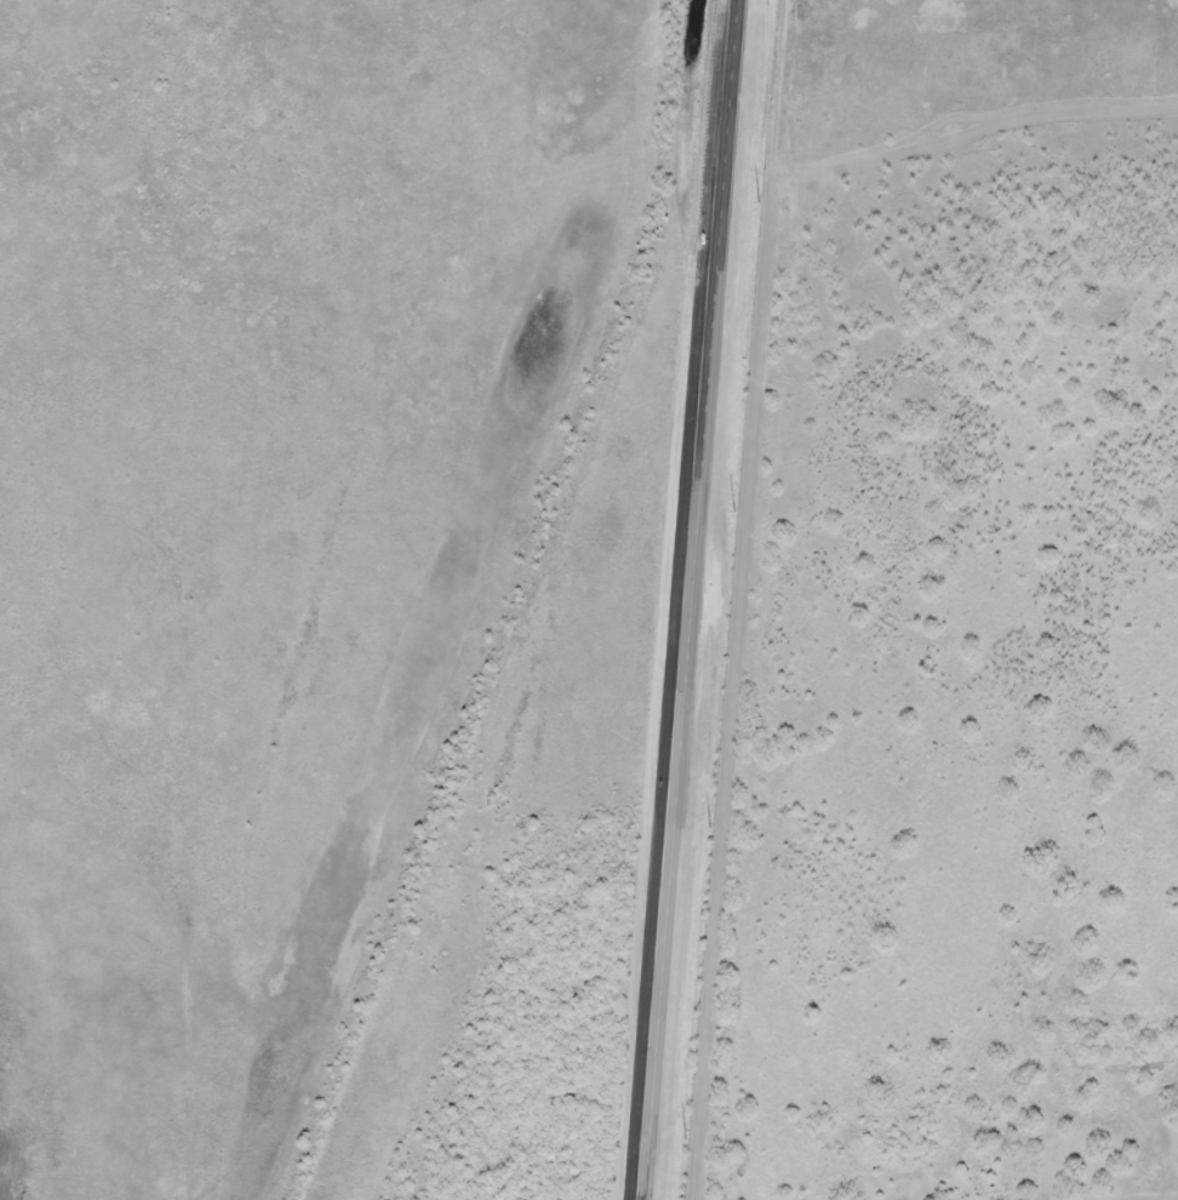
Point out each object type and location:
road: (691, 599)

